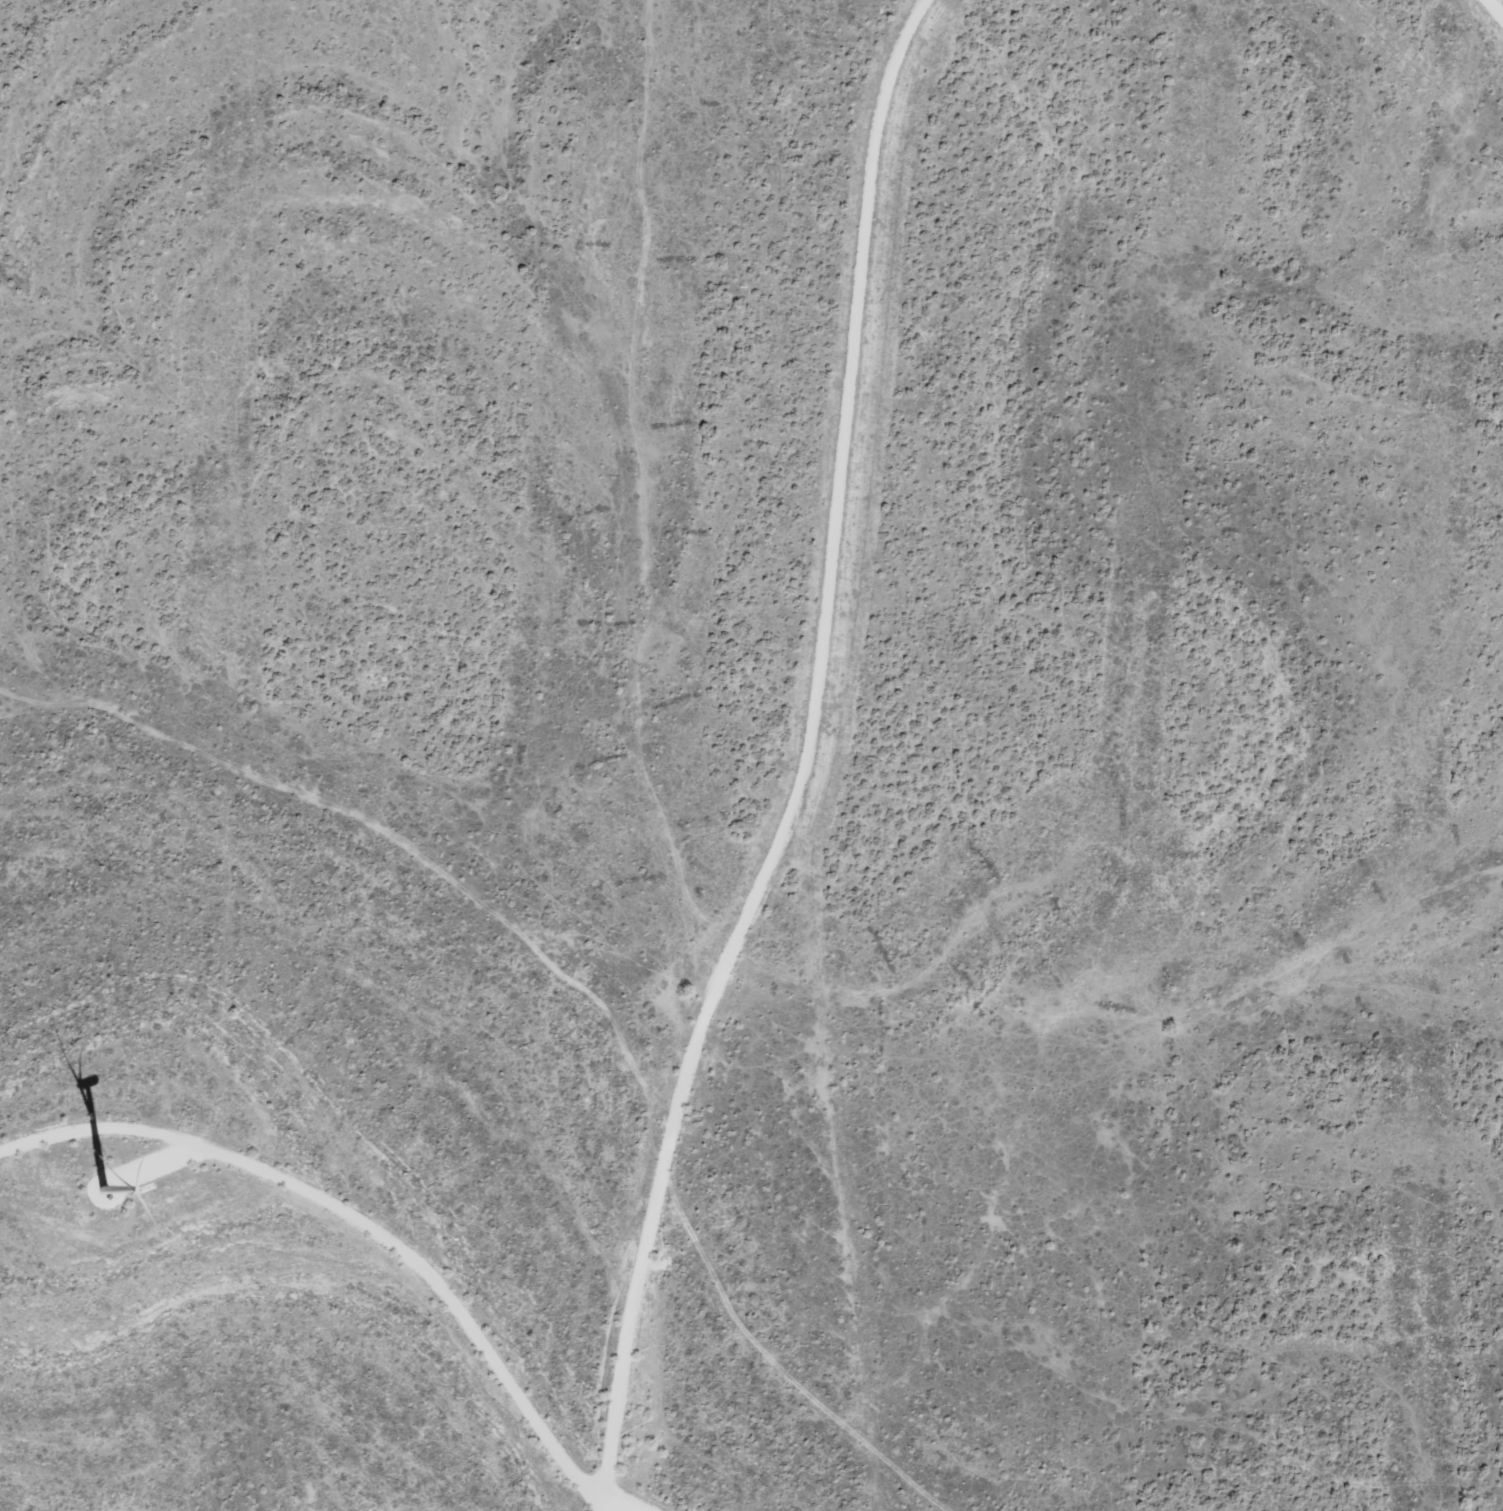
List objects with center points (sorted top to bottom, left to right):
road: (1494, 9)
road: (805, 769)
wind turbine: (96, 1192)

